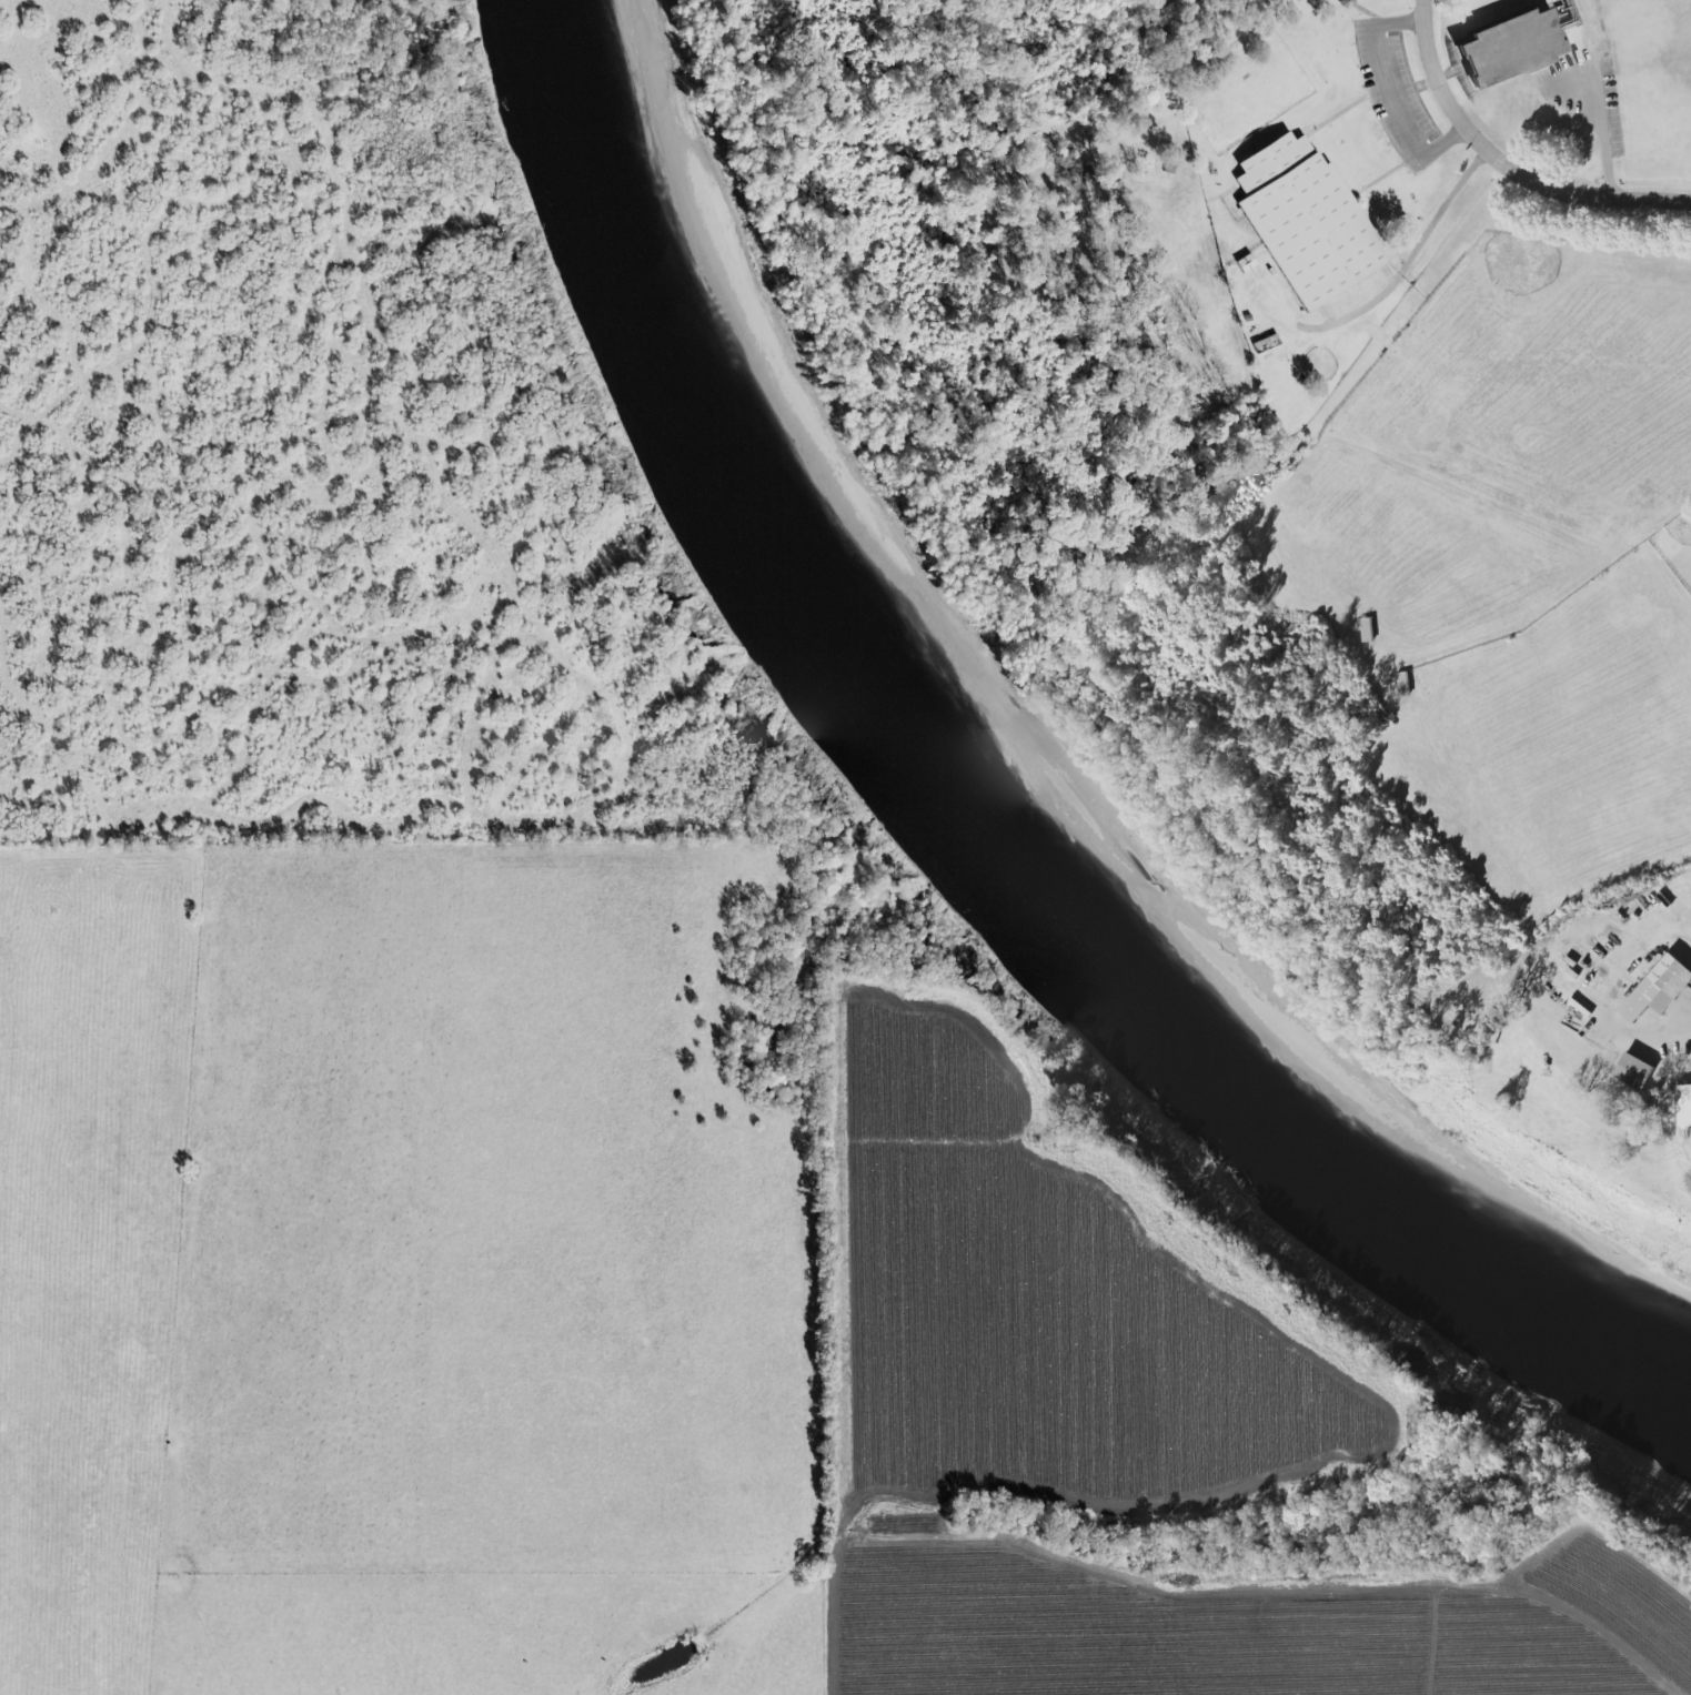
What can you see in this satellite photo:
building: (1513, 48)
road: (1392, 91)
road: (1607, 97)
road: (1503, 168)
building: (1308, 221)
road: (1401, 262)
building: (1367, 630)
building: (1403, 685)
river: (979, 814)
building: (1659, 988)
building: (1634, 1071)
building: (1684, 1104)
road: (1564, 1618)

